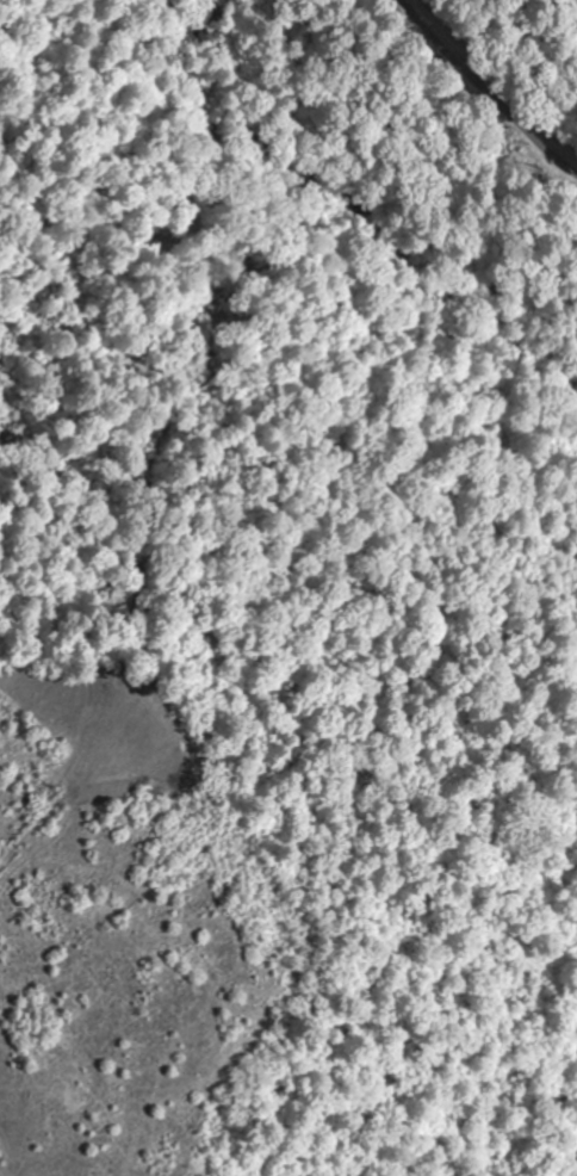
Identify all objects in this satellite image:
road: (485, 89)

